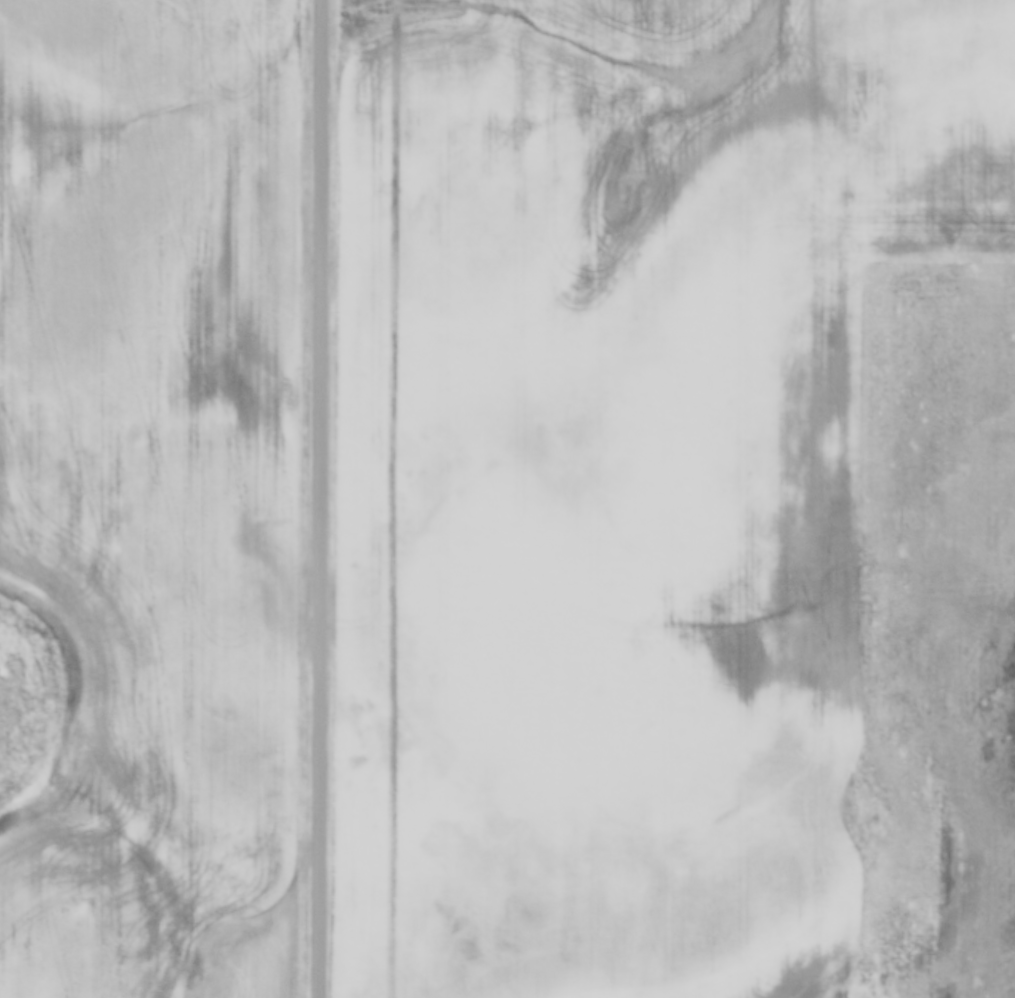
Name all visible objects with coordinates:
road: (320, 499)

